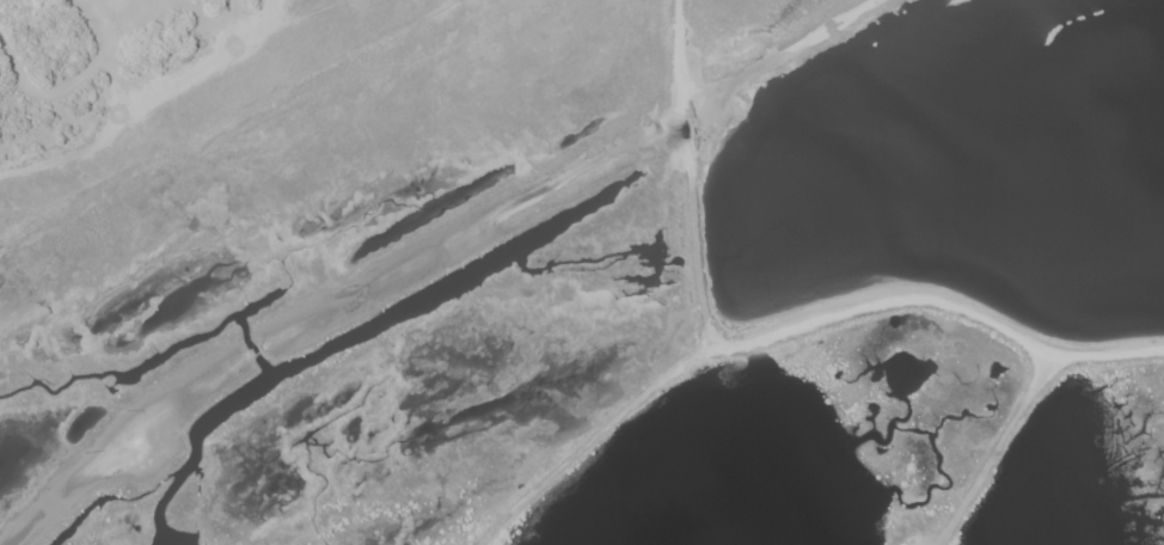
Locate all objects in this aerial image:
road: (1022, 405)

